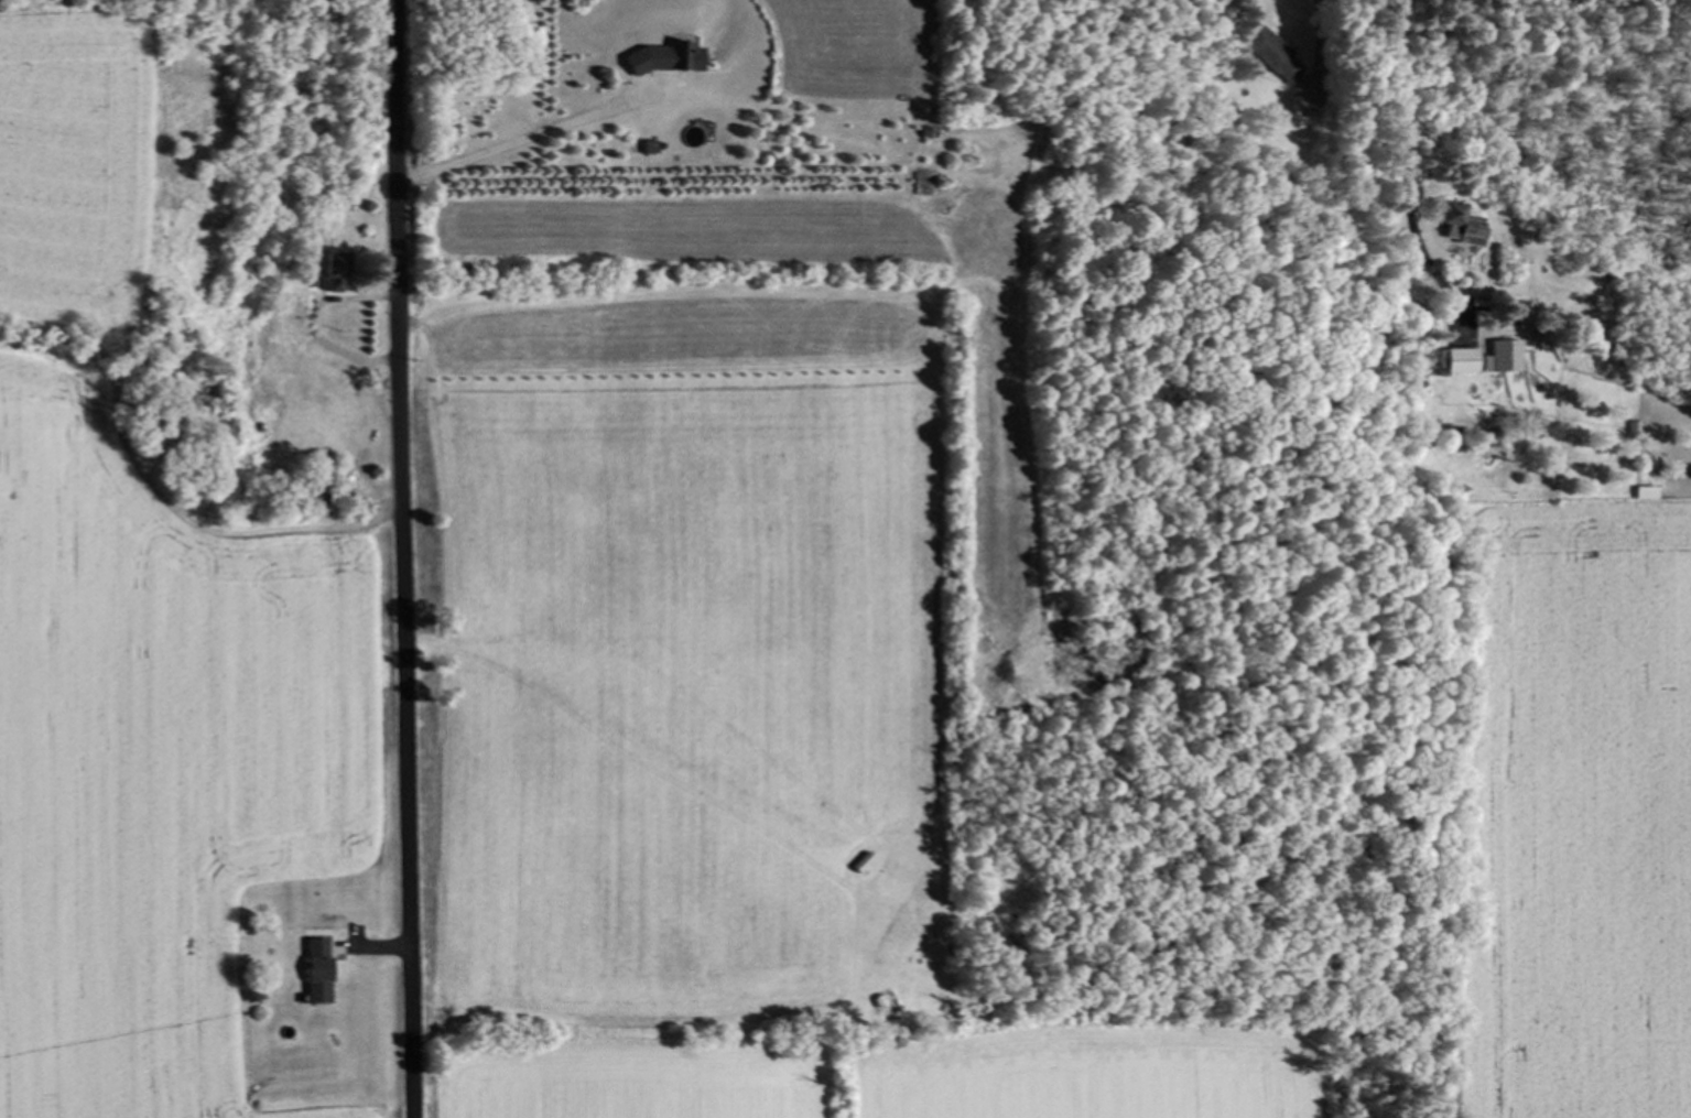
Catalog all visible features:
building: (1268, 52)
building: (664, 56)
road: (516, 141)
building: (935, 197)
building: (1460, 221)
building: (332, 271)
building: (1506, 356)
building: (1461, 360)
building: (302, 400)
building: (319, 482)
building: (1645, 492)
road: (404, 558)
building: (980, 644)
building: (318, 972)

